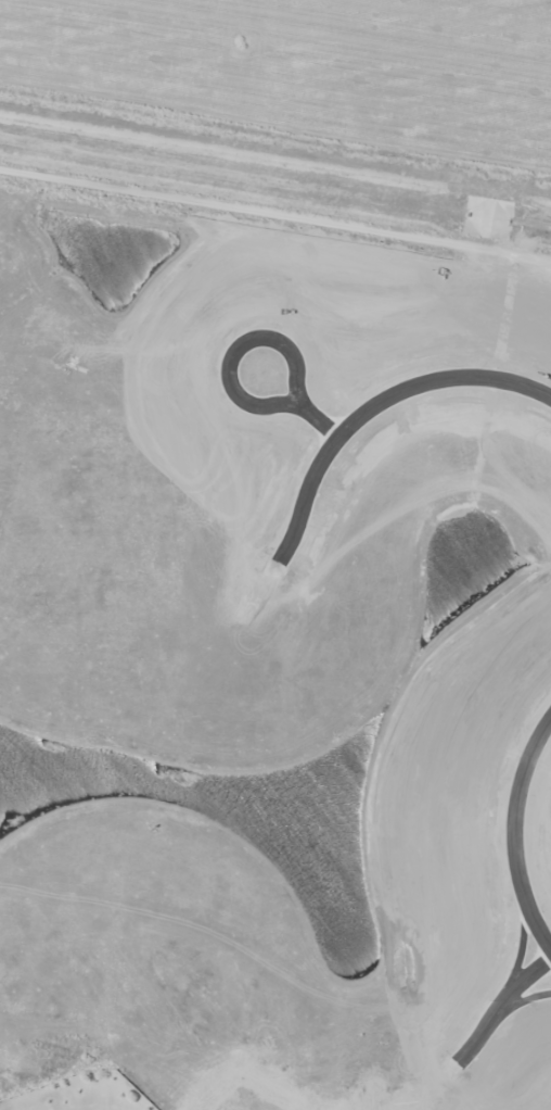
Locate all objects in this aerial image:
road: (257, 333)
road: (358, 414)
road: (514, 833)
park: (85, 1094)

